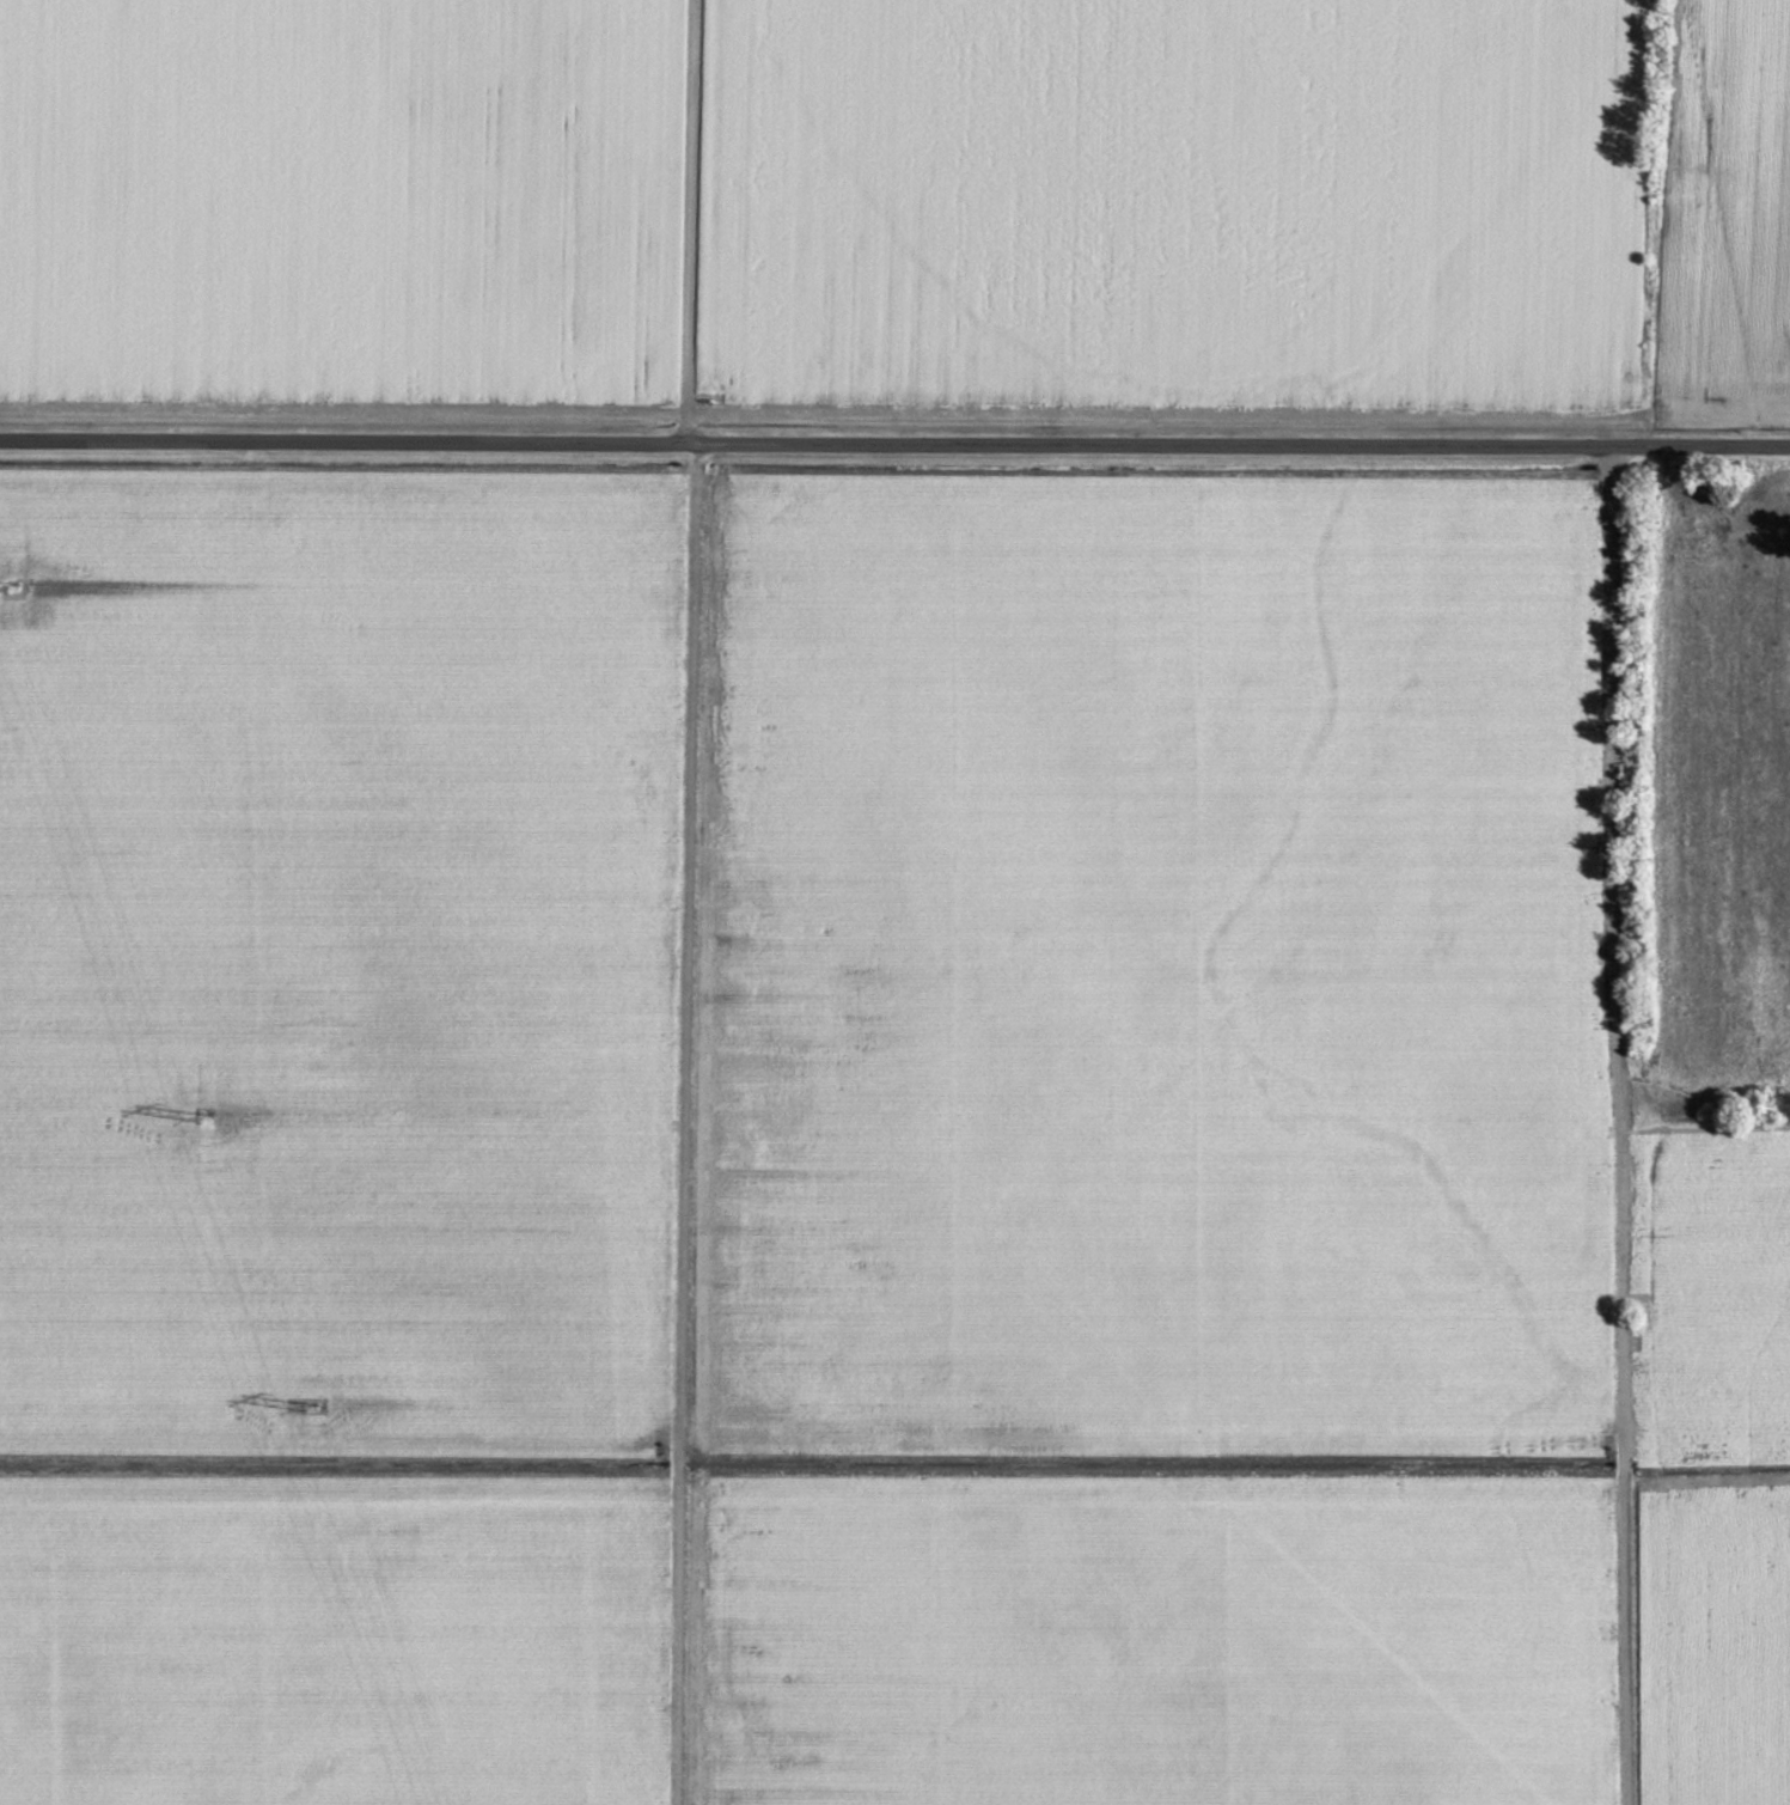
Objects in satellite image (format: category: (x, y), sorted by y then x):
road: (813, 444)
road: (1709, 447)
power tower: (17, 581)
power tower: (212, 1115)
power tower: (316, 1404)

